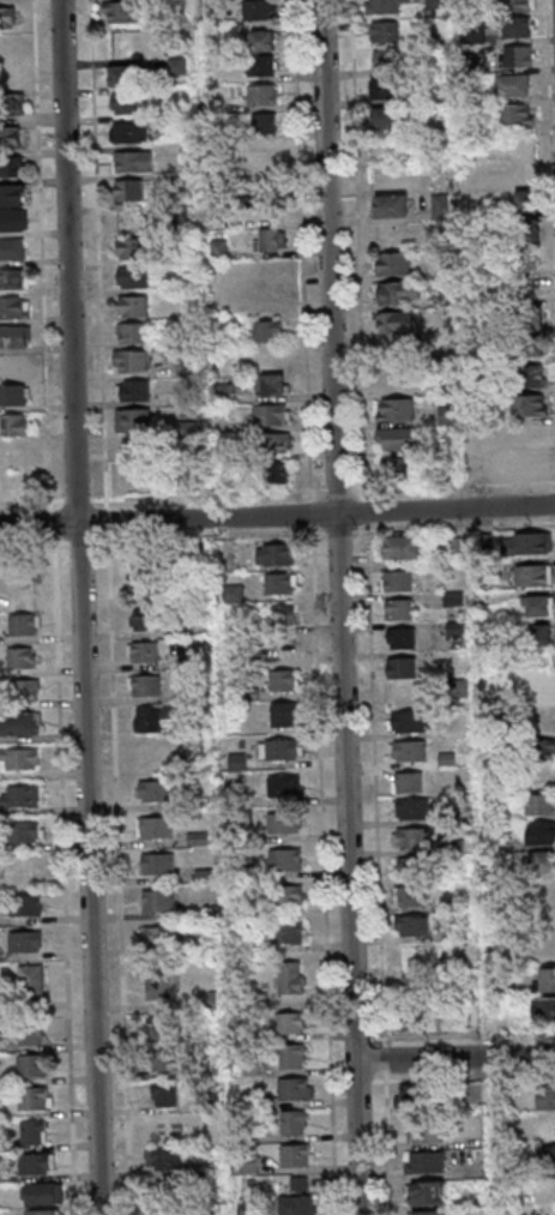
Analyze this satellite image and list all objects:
building: (435, 4)
building: (518, 5)
building: (382, 6)
building: (259, 10)
building: (120, 11)
building: (8, 17)
building: (518, 26)
building: (385, 31)
building: (473, 34)
building: (261, 40)
building: (519, 55)
building: (388, 60)
building: (260, 65)
building: (8, 76)
building: (123, 76)
building: (513, 84)
building: (385, 89)
building: (261, 94)
building: (11, 103)
building: (125, 103)
building: (518, 114)
building: (382, 118)
building: (263, 122)
building: (129, 132)
building: (10, 137)
building: (379, 149)
building: (264, 152)
building: (132, 161)
building: (10, 166)
building: (127, 190)
building: (11, 194)
building: (527, 200)
building: (391, 205)
building: (12, 219)
building: (526, 230)
building: (270, 239)
building: (129, 247)
building: (11, 248)
road: (102, 249)
building: (525, 259)
building: (392, 264)
road: (47, 273)
building: (131, 277)
building: (13, 279)
building: (399, 293)
building: (132, 306)
building: (13, 307)
building: (529, 315)
building: (394, 321)
building: (266, 331)
building: (129, 332)
building: (14, 336)
building: (531, 347)
building: (131, 361)
building: (530, 377)
building: (397, 380)
building: (271, 384)
building: (132, 390)
building: (13, 395)
building: (530, 407)
building: (394, 409)
building: (271, 414)
building: (132, 420)
building: (13, 425)
building: (532, 435)
building: (394, 438)
building: (276, 443)
building: (532, 464)
building: (398, 468)
building: (271, 473)
road: (277, 516)
building: (525, 542)
building: (406, 551)
building: (275, 554)
building: (143, 561)
building: (532, 575)
building: (403, 582)
building: (280, 583)
building: (231, 593)
building: (538, 605)
road: (85, 607)
road: (345, 607)
building: (404, 610)
building: (280, 614)
building: (140, 619)
building: (23, 624)
building: (535, 636)
building: (406, 640)
building: (141, 651)
building: (20, 657)
building: (406, 669)
building: (284, 680)
building: (145, 685)
building: (23, 691)
building: (542, 691)
building: (284, 714)
building: (151, 718)
building: (542, 721)
building: (414, 723)
building: (18, 724)
building: (279, 748)
building: (543, 750)
building: (415, 752)
building: (20, 758)
building: (236, 762)
building: (542, 776)
building: (414, 784)
building: (283, 786)
building: (155, 790)
building: (22, 795)
building: (539, 804)
building: (415, 812)
building: (284, 823)
building: (155, 826)
building: (26, 831)
building: (541, 832)
building: (417, 840)
building: (284, 859)
building: (542, 861)
building: (157, 864)
building: (418, 867)
building: (25, 868)
building: (549, 891)
building: (290, 895)
building: (418, 897)
building: (158, 900)
building: (26, 904)
building: (420, 926)
building: (288, 932)
building: (159, 934)
building: (25, 942)
building: (423, 957)
building: (290, 978)
building: (545, 980)
building: (31, 981)
building: (158, 984)
building: (422, 988)
building: (543, 1008)
building: (414, 1016)
building: (426, 1019)
building: (289, 1022)
building: (159, 1027)
building: (29, 1033)
building: (291, 1055)
building: (165, 1059)
road: (458, 1059)
building: (31, 1065)
building: (295, 1088)
building: (164, 1094)
building: (411, 1096)
building: (35, 1097)
building: (545, 1097)
building: (292, 1123)
building: (163, 1126)
building: (32, 1131)
building: (426, 1131)
building: (547, 1131)
building: (296, 1155)
building: (545, 1156)
building: (164, 1159)
building: (424, 1161)
building: (36, 1163)
building: (43, 1192)
building: (429, 1192)
building: (296, 1204)
building: (170, 1210)
building: (43, 1211)
building: (550, 1211)
building: (428, 1213)

